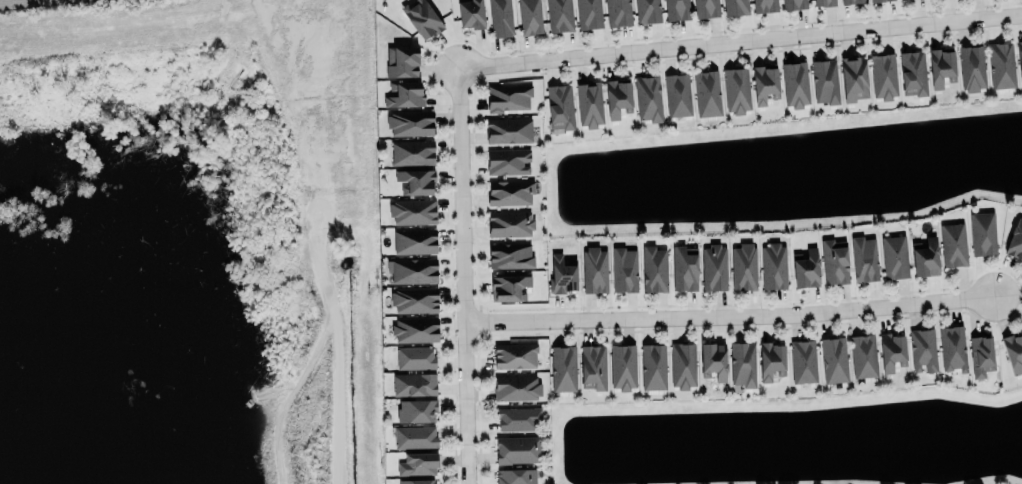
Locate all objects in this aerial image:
building: (876, 0)
building: (825, 1)
building: (851, 1)
building: (794, 4)
building: (764, 5)
building: (735, 6)
building: (706, 7)
building: (677, 9)
building: (647, 10)
building: (471, 12)
building: (619, 12)
building: (589, 13)
building: (560, 14)
building: (530, 16)
building: (423, 17)
building: (501, 17)
road: (742, 38)
building: (1019, 59)
building: (401, 61)
building: (1001, 63)
road: (288, 64)
building: (941, 67)
building: (971, 67)
building: (913, 71)
building: (883, 75)
building: (853, 76)
building: (825, 80)
building: (796, 82)
building: (764, 84)
building: (736, 88)
building: (405, 93)
building: (707, 93)
building: (677, 94)
building: (617, 95)
building: (649, 96)
building: (508, 97)
building: (589, 102)
building: (559, 106)
building: (410, 123)
building: (509, 128)
building: (412, 152)
building: (508, 161)
building: (416, 181)
building: (510, 190)
building: (413, 210)
building: (510, 222)
building: (982, 230)
building: (1015, 237)
building: (415, 240)
building: (953, 242)
building: (510, 255)
building: (894, 255)
building: (925, 256)
building: (864, 257)
building: (835, 259)
building: (773, 264)
building: (714, 265)
building: (744, 265)
building: (624, 267)
building: (653, 267)
building: (806, 267)
building: (594, 268)
building: (684, 268)
building: (413, 269)
building: (563, 271)
road: (466, 276)
building: (509, 285)
building: (415, 298)
road: (730, 313)
building: (416, 329)
building: (952, 348)
building: (892, 349)
building: (922, 349)
building: (1013, 352)
building: (863, 353)
building: (980, 353)
building: (515, 355)
building: (415, 356)
building: (771, 358)
building: (833, 358)
building: (713, 359)
building: (802, 360)
building: (742, 362)
building: (683, 363)
building: (593, 365)
building: (652, 365)
building: (622, 366)
building: (563, 368)
building: (414, 382)
building: (516, 386)
building: (416, 410)
building: (518, 417)
building: (416, 435)
building: (517, 449)
building: (418, 461)
building: (516, 476)
building: (416, 480)

